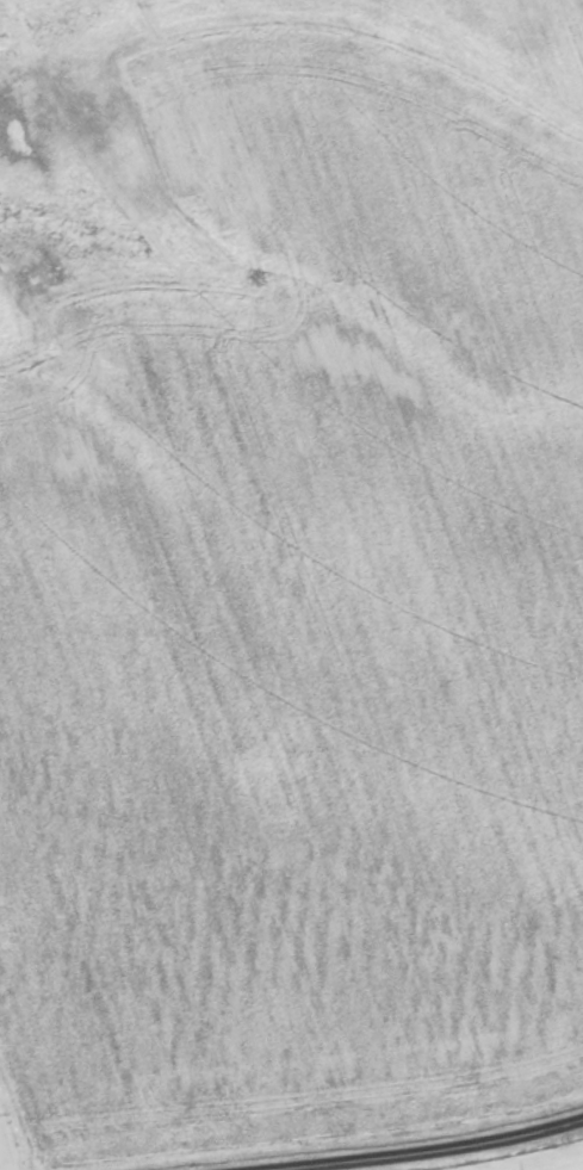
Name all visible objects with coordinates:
road: (407, 1149)

